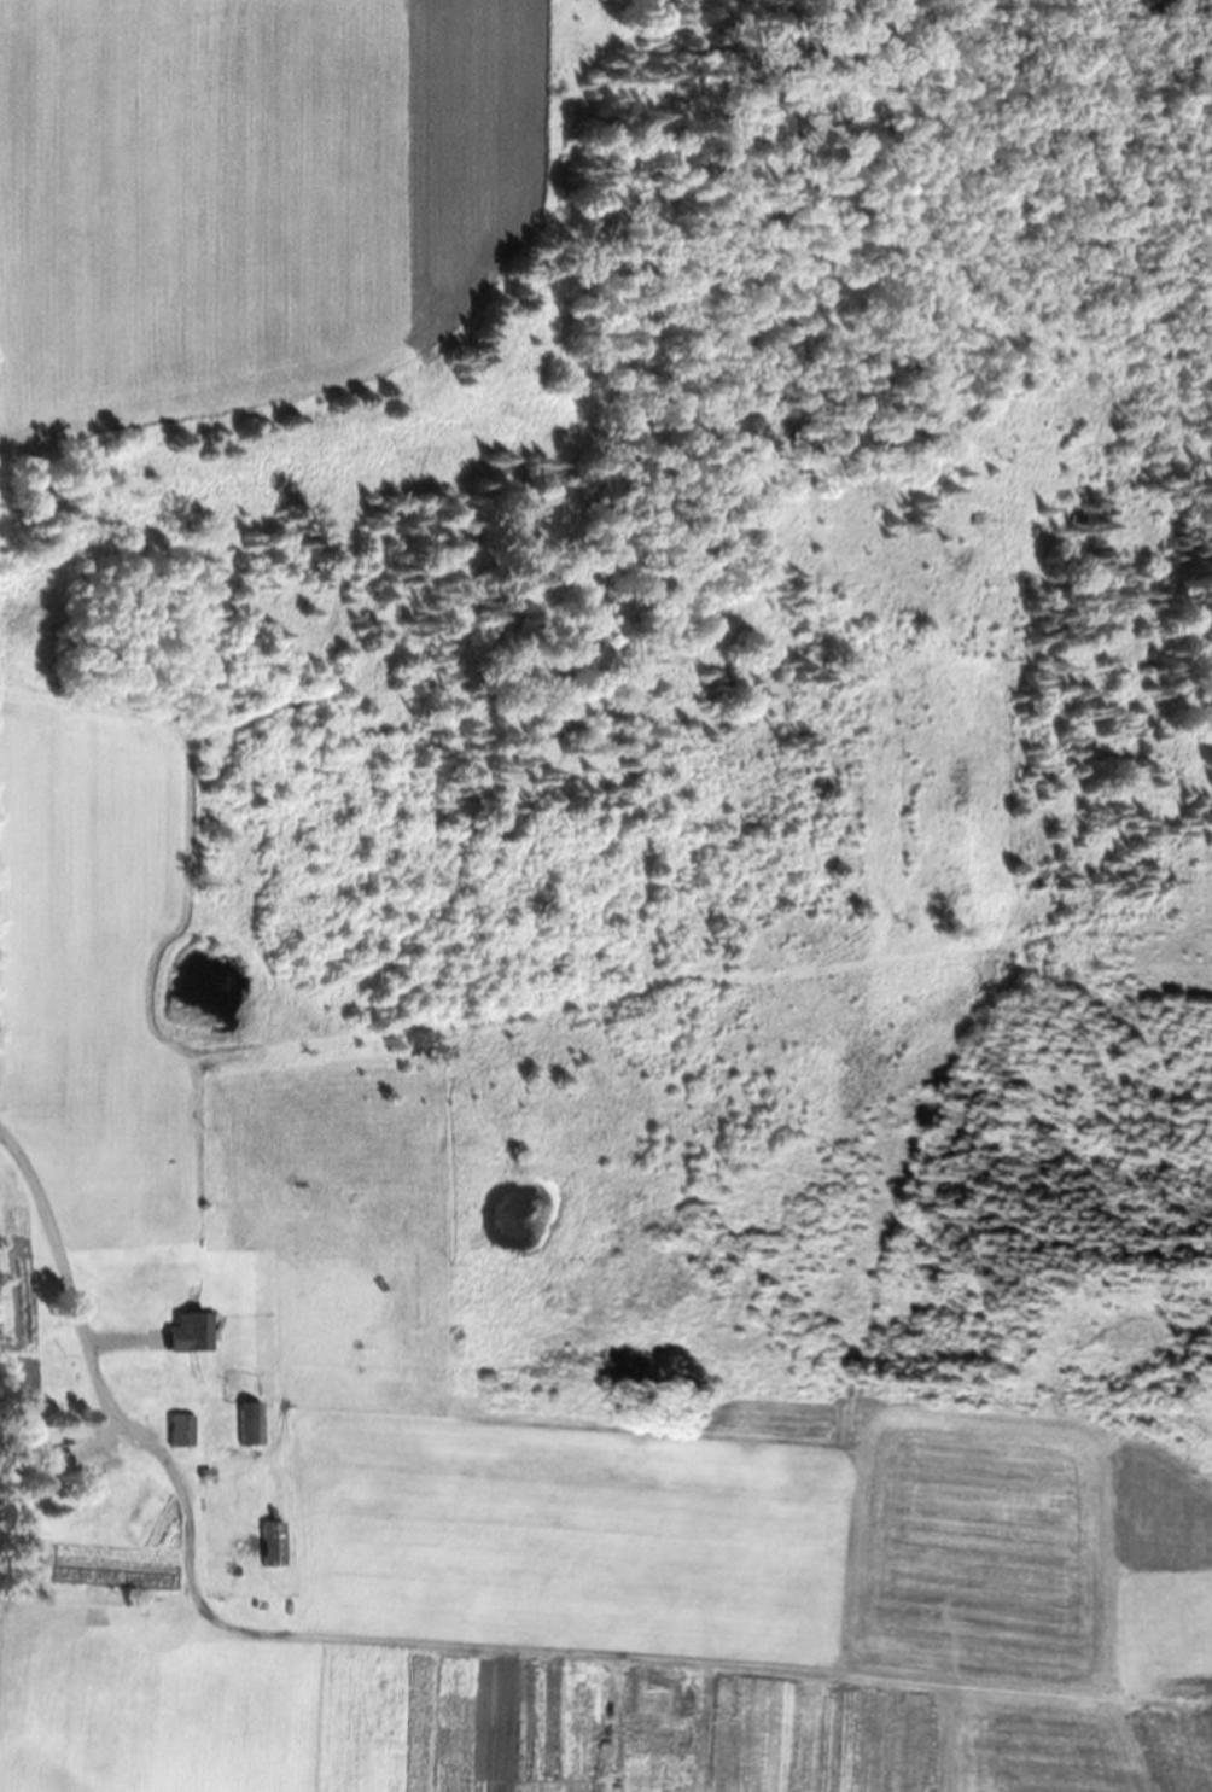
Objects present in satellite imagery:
road: (70, 1276)
building: (174, 1333)
building: (244, 1423)
building: (173, 1430)
building: (267, 1542)

